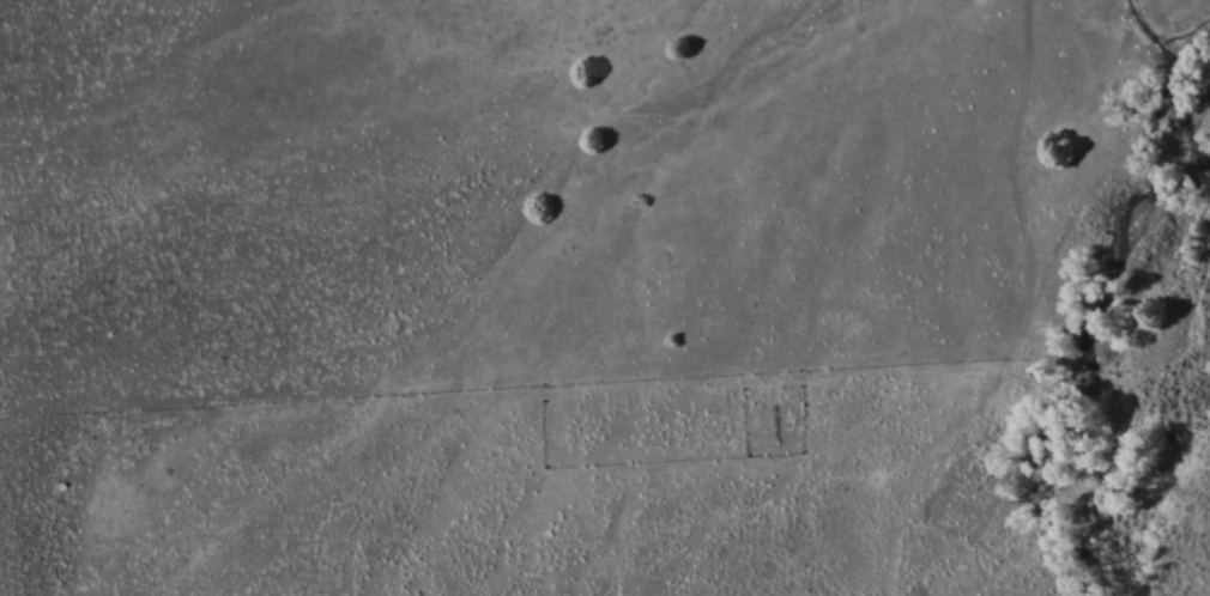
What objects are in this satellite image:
road: (1002, 292)

